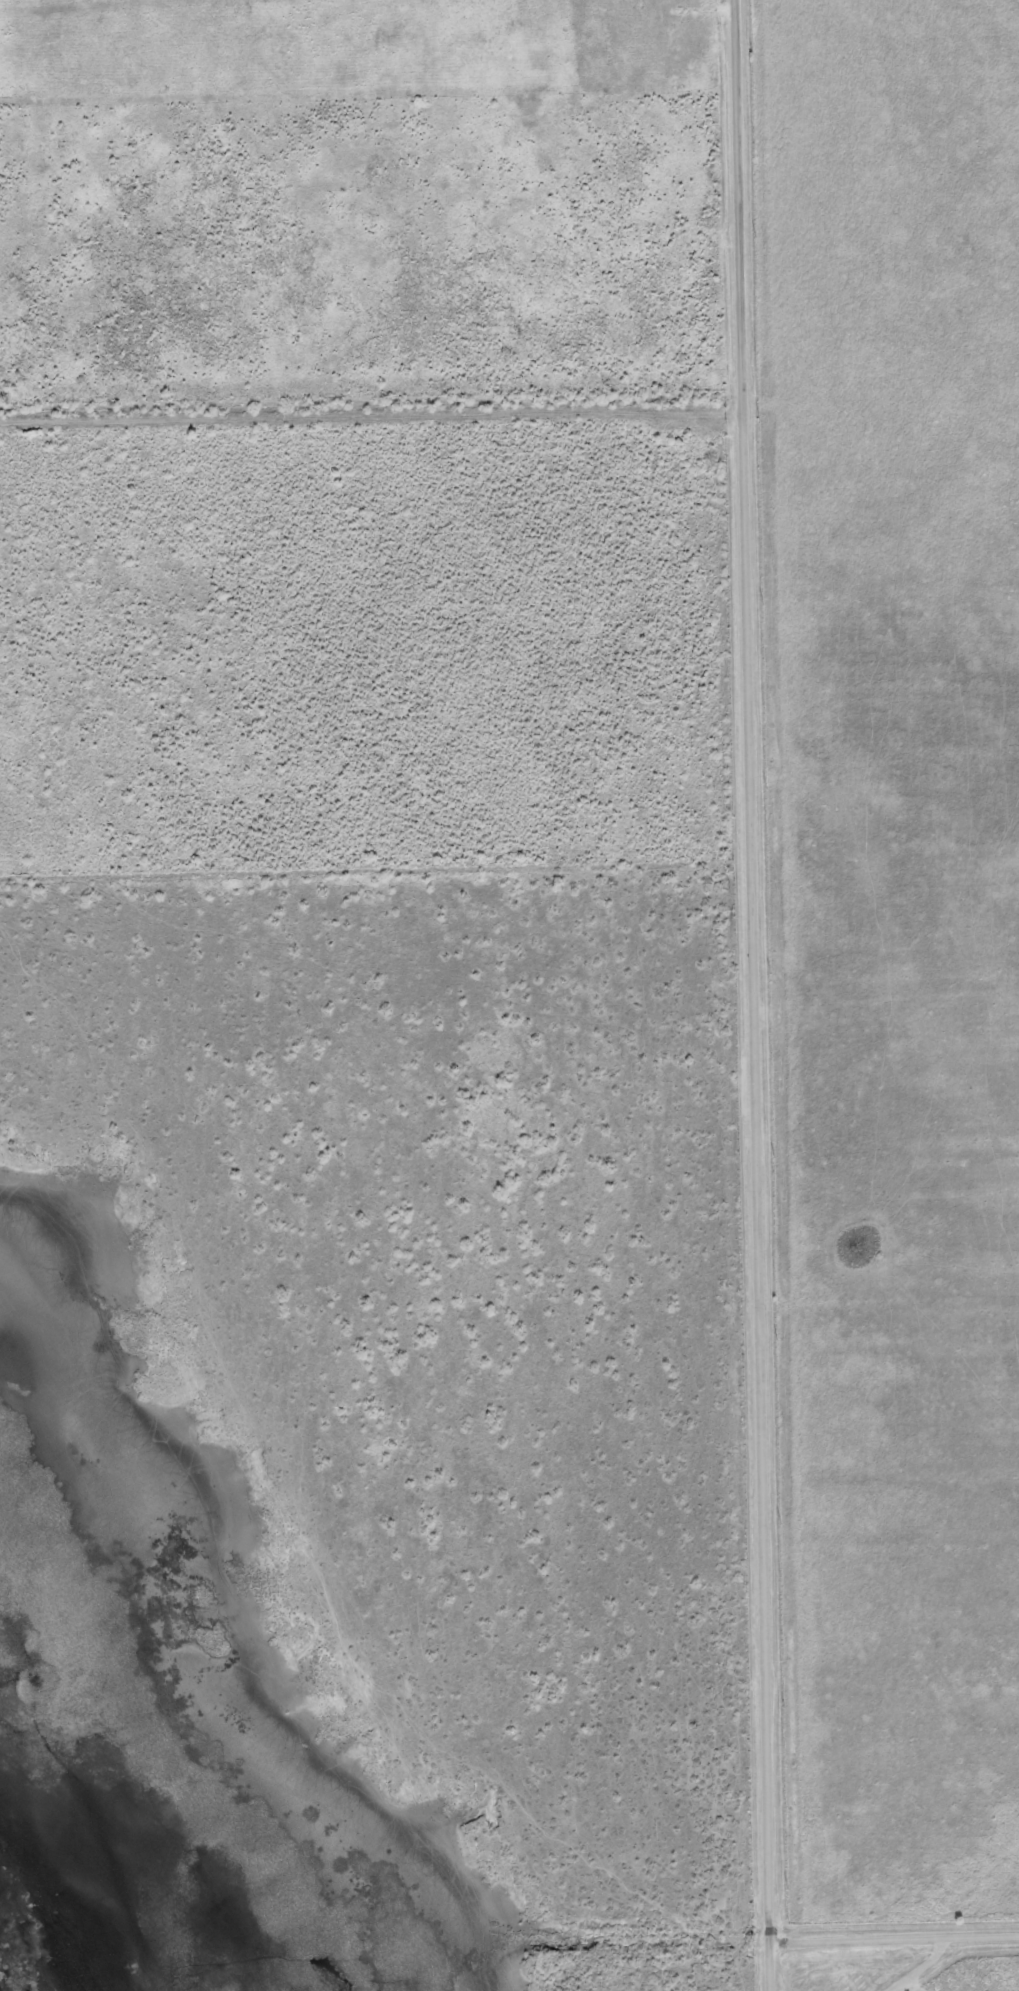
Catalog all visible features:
road: (757, 995)
road: (894, 1946)

